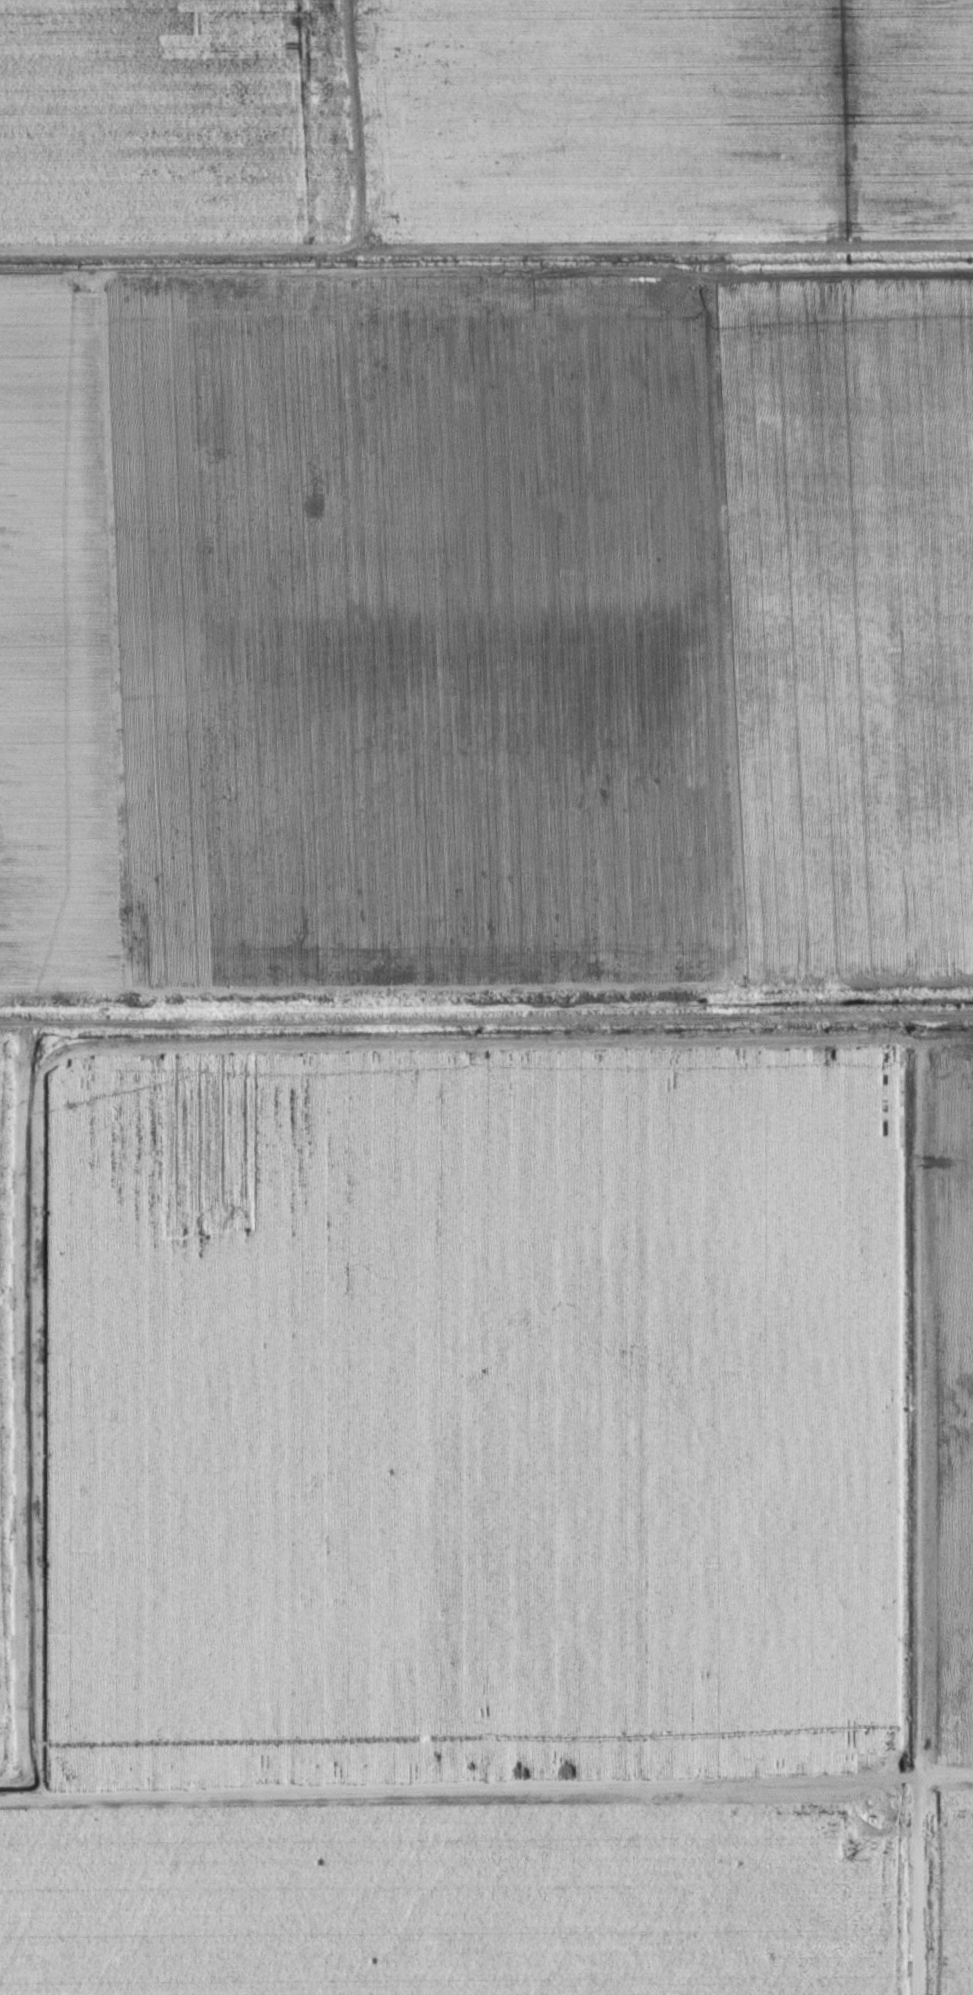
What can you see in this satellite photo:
road: (457, 1783)
road: (427, 1889)

